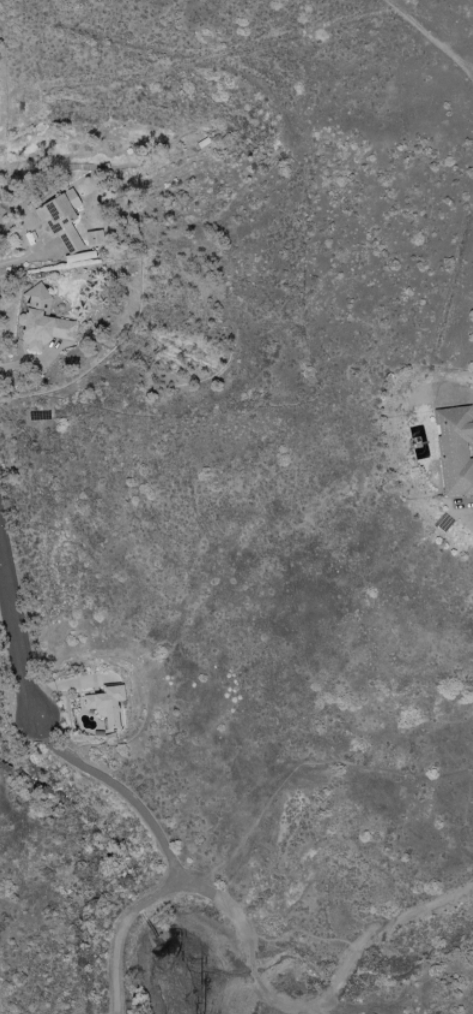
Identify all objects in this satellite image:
road: (421, 31)
road: (465, 66)
road: (465, 73)
building: (59, 218)
building: (92, 237)
road: (22, 258)
building: (40, 320)
building: (453, 449)
road: (16, 635)
building: (104, 704)
road: (116, 788)
road: (261, 959)

